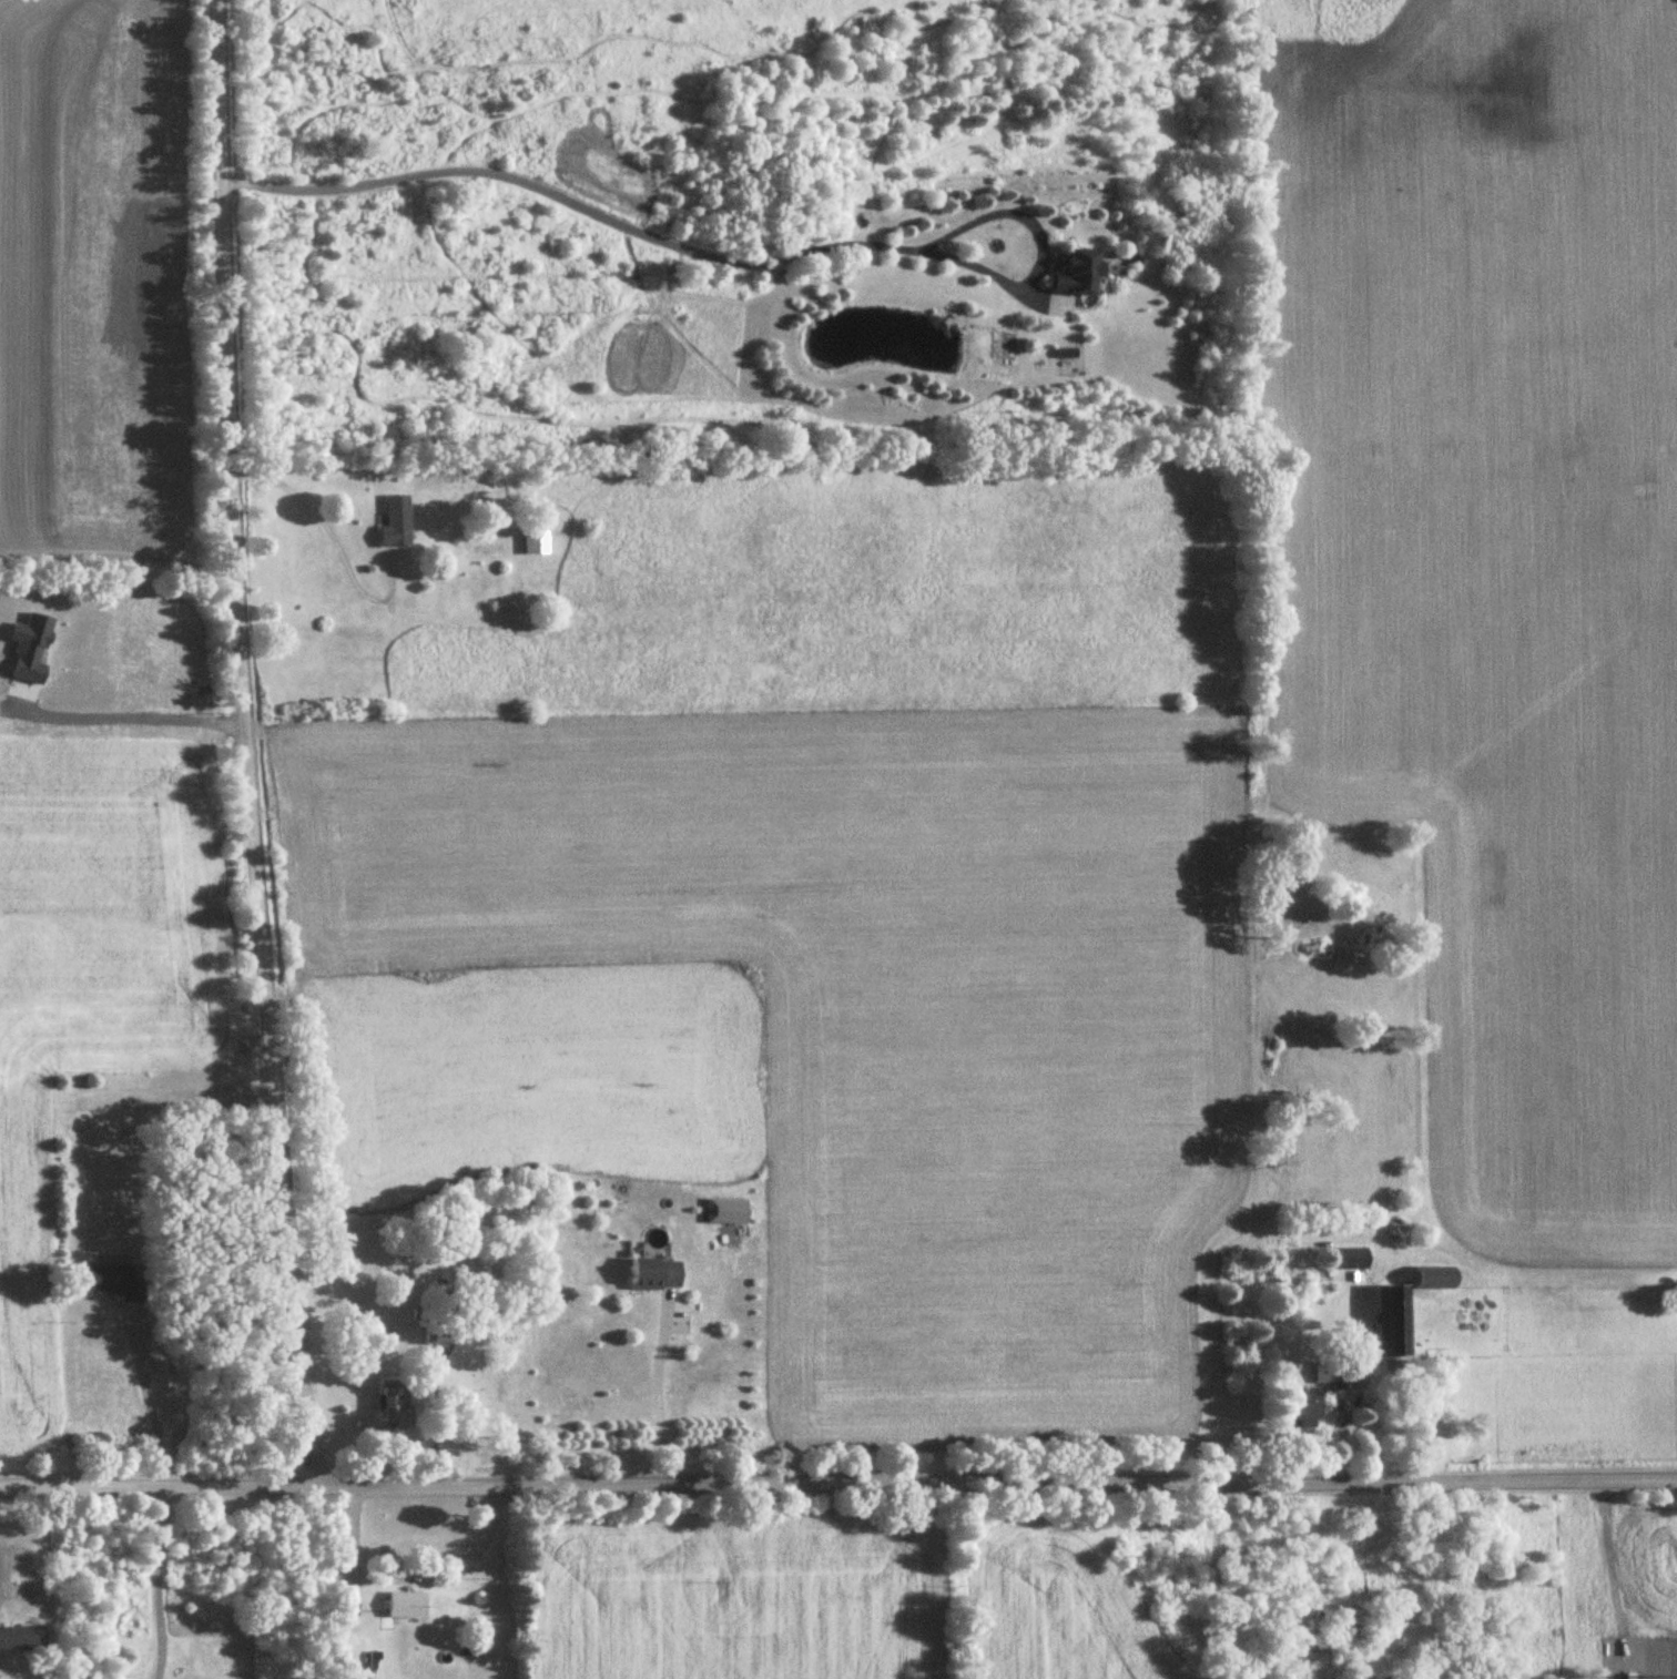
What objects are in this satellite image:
road: (719, 261)
building: (1079, 275)
building: (396, 523)
road: (333, 539)
building: (535, 542)
road: (248, 742)
building: (1350, 1260)
building: (654, 1275)
building: (1435, 1280)
building: (115, 1283)
building: (1393, 1322)
building: (440, 1335)
building: (1333, 1373)
road: (661, 1393)
road: (150, 1401)
building: (394, 1406)
building: (1305, 1408)
road: (428, 1422)
road: (837, 1479)
road: (406, 1578)
road: (159, 1580)
building: (405, 1606)
building: (22, 1639)

